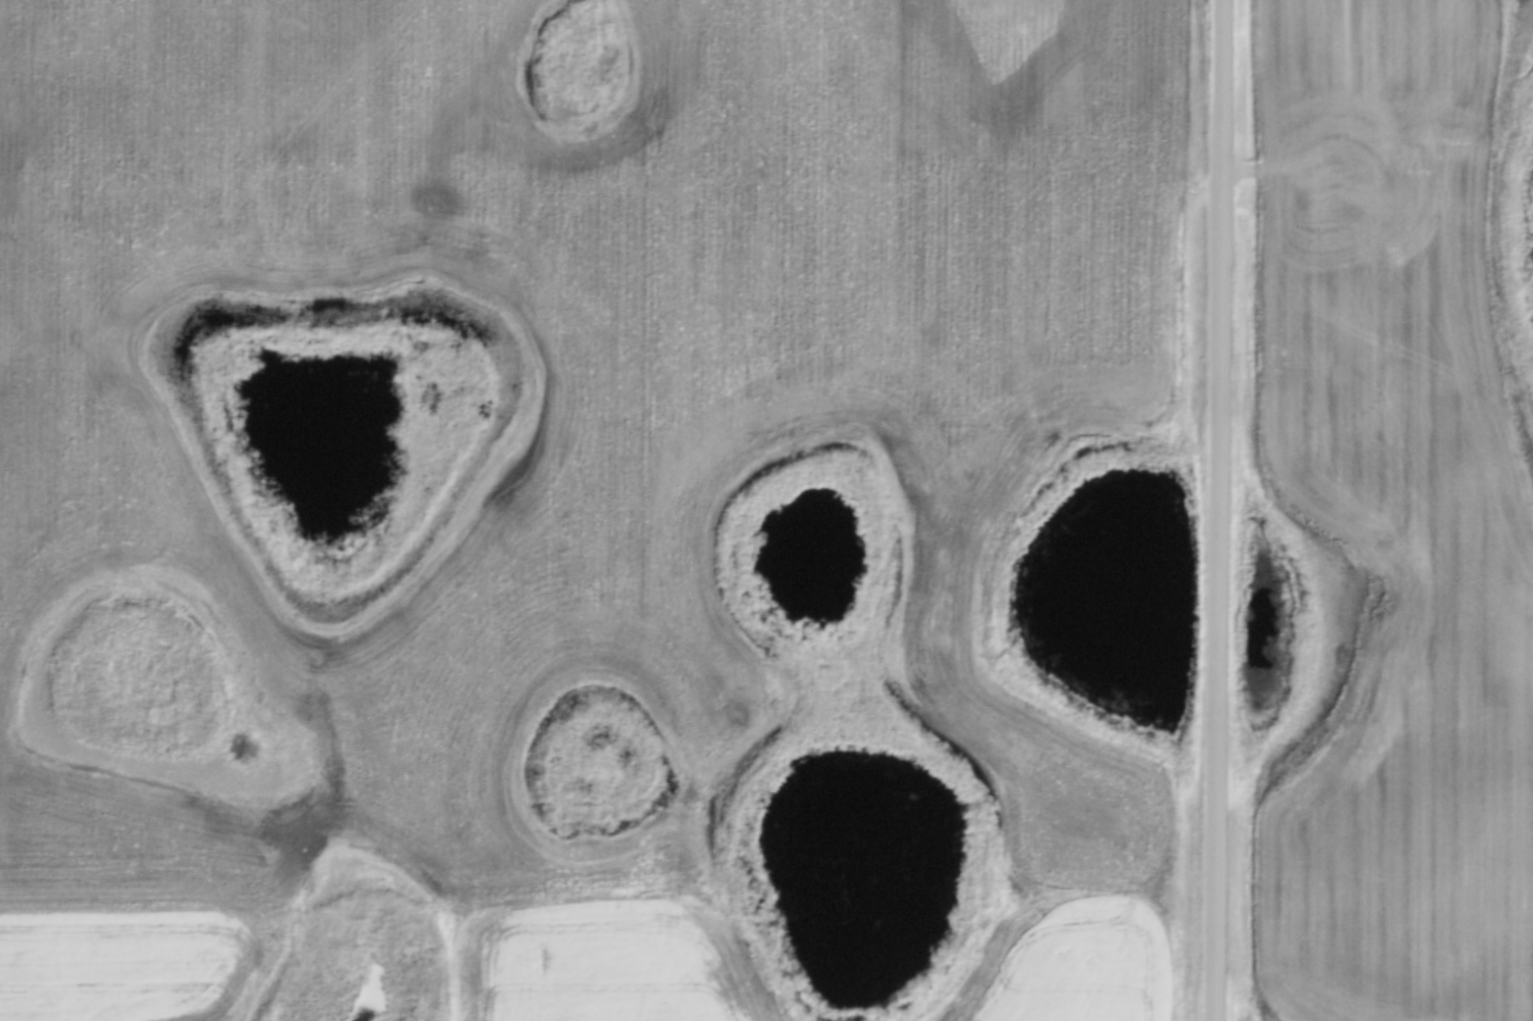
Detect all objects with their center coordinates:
road: (1227, 510)

